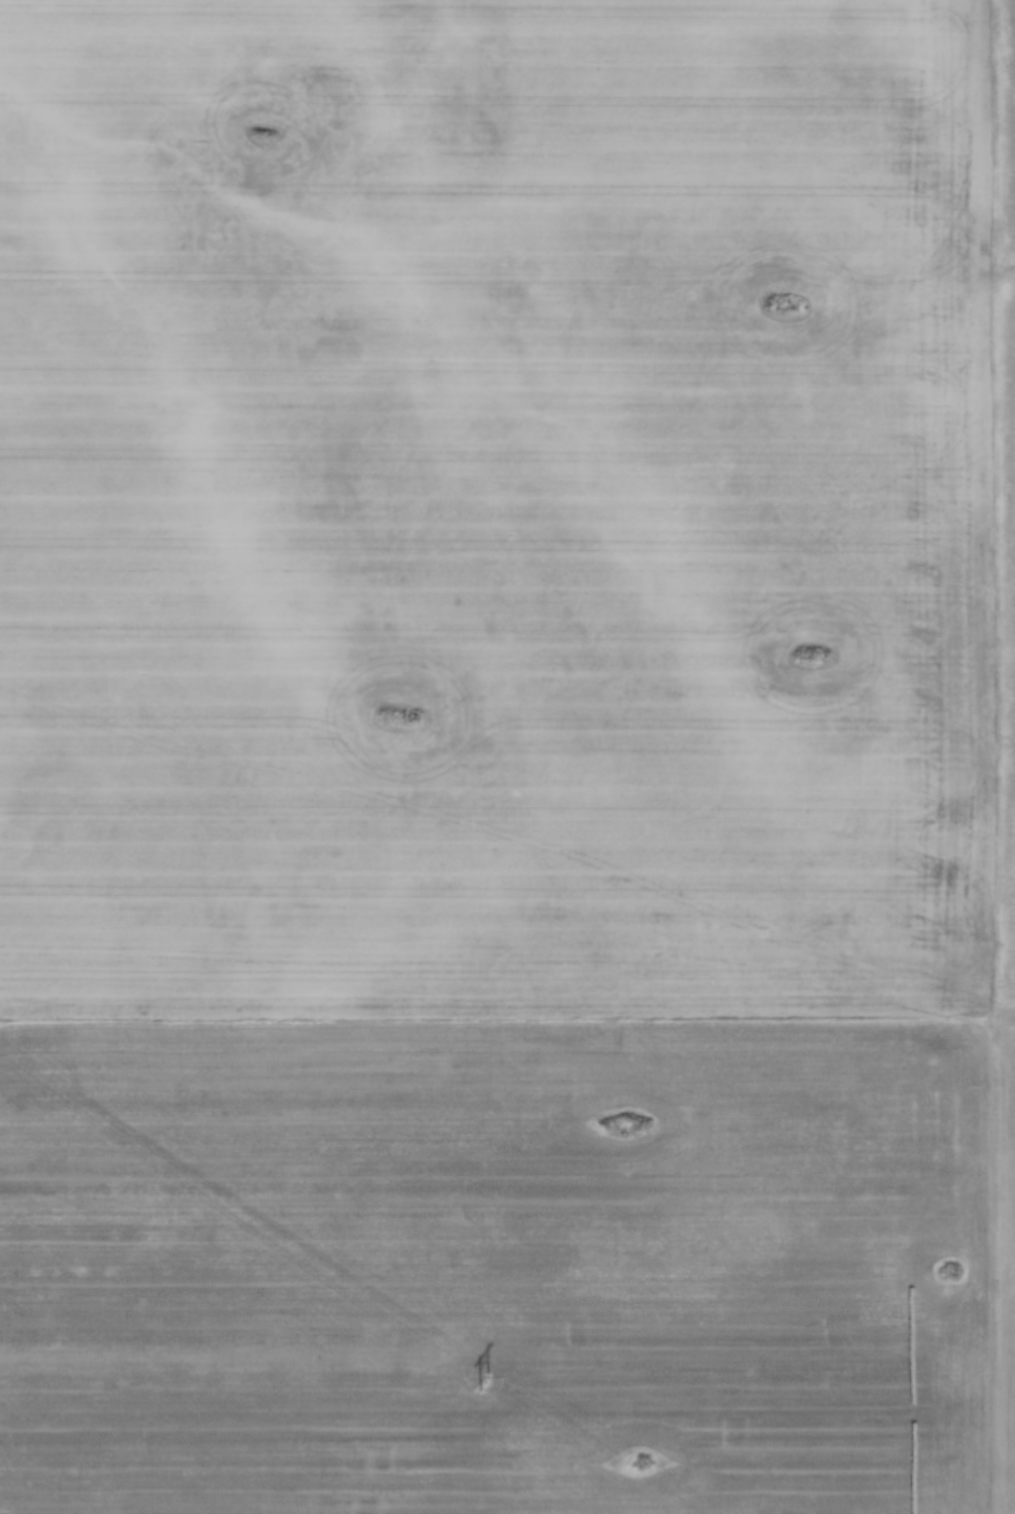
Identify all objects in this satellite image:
power tower: (484, 1383)

